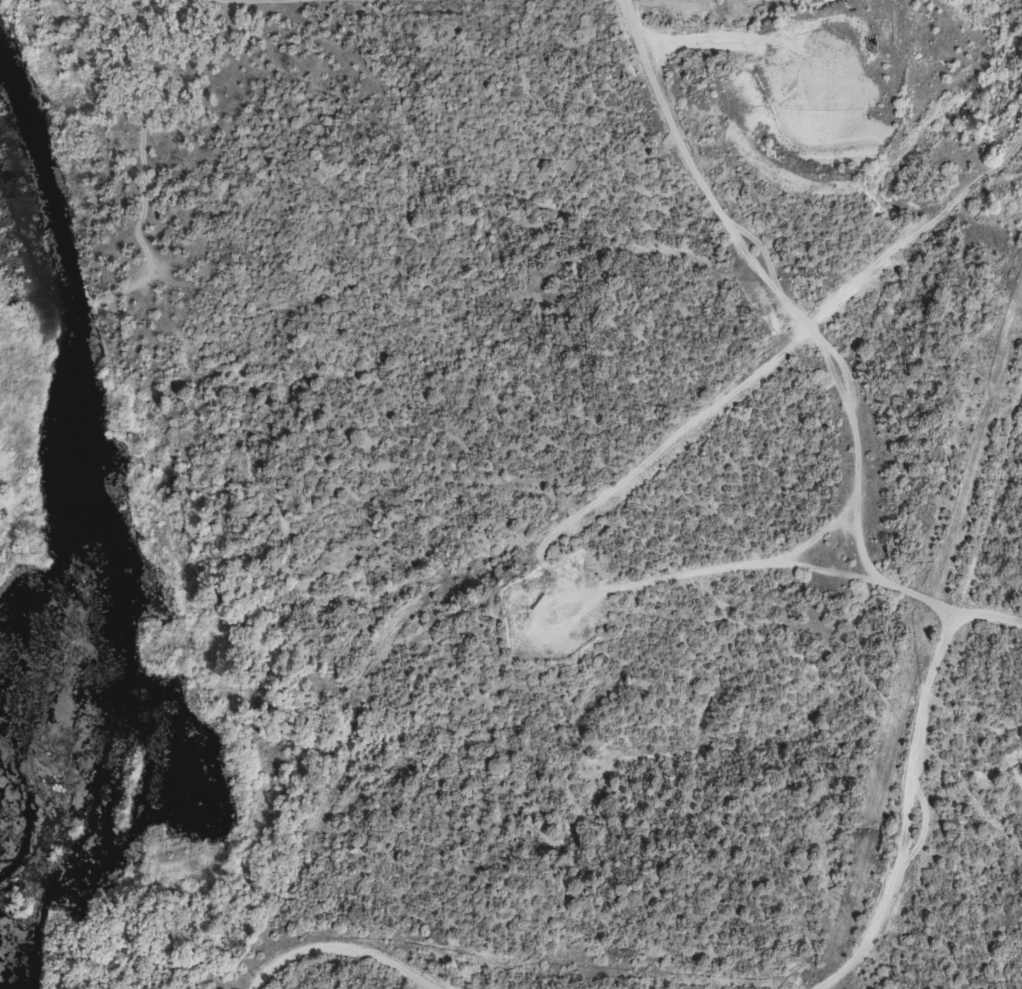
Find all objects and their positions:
road: (804, 344)
road: (936, 825)
road: (368, 966)

